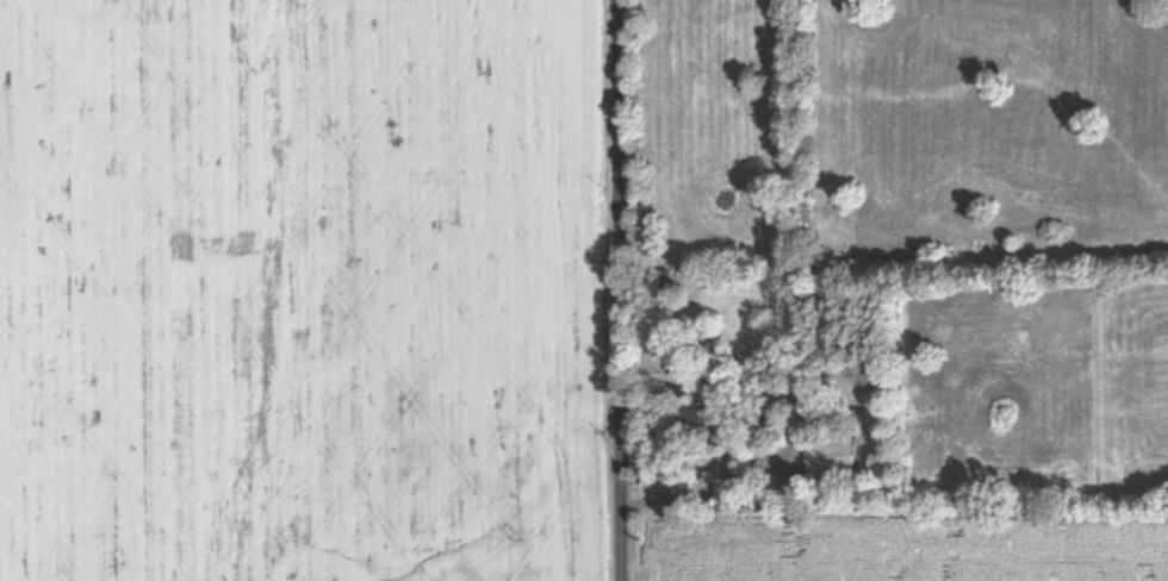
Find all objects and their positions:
building: (660, 287)
road: (619, 290)
building: (696, 421)
building: (828, 458)

